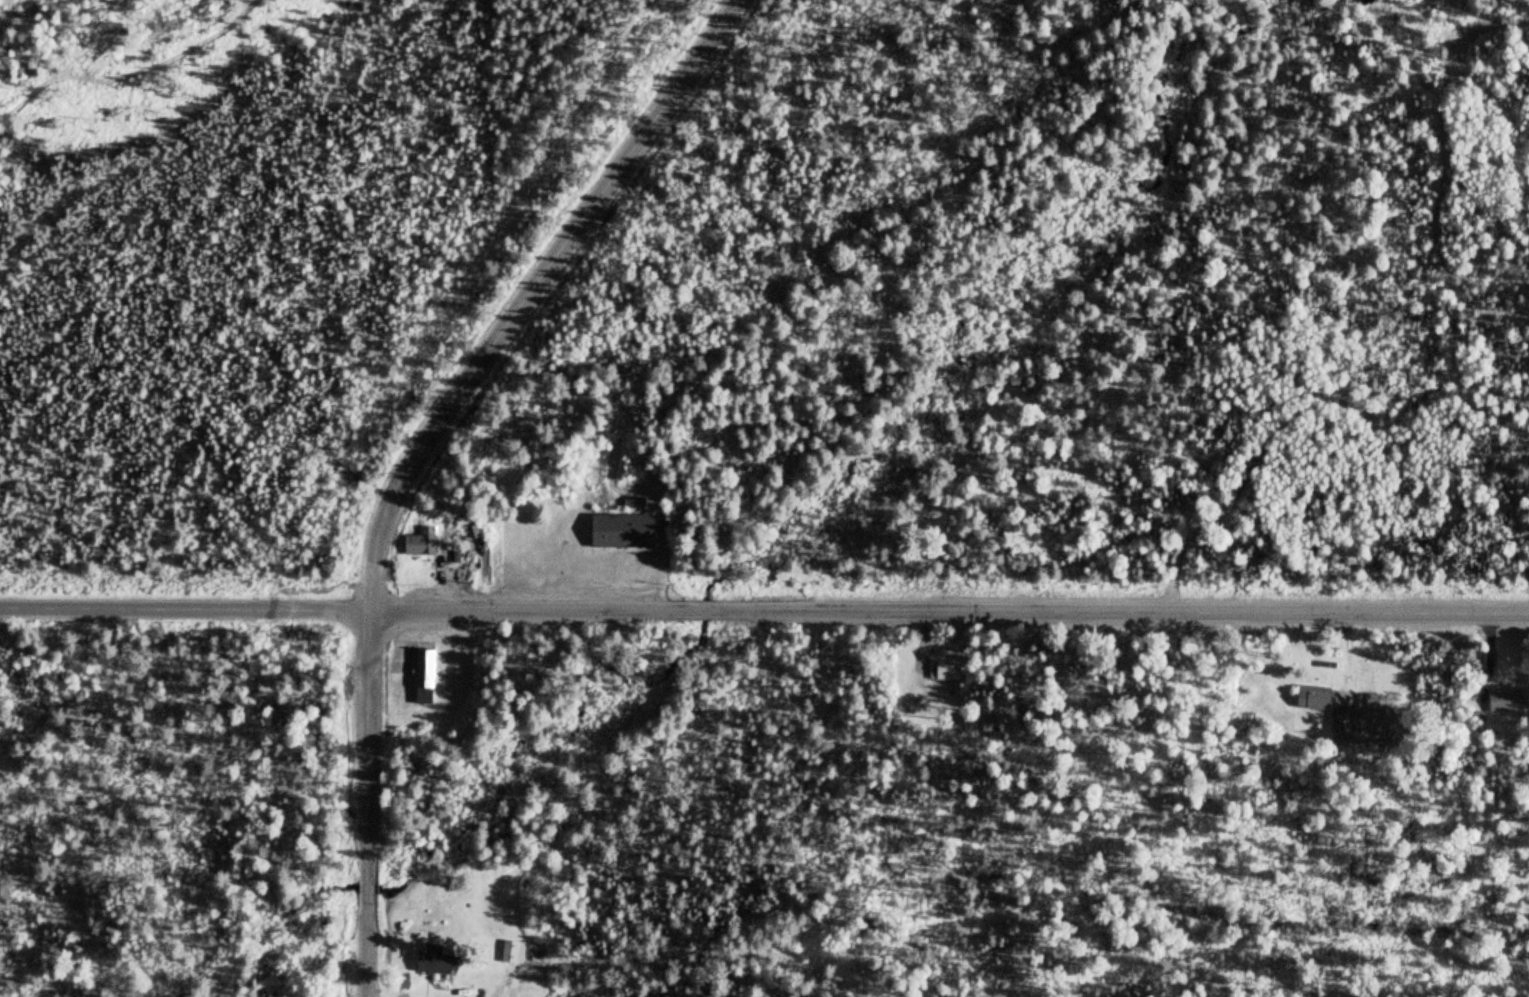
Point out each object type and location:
road: (526, 293)
building: (631, 504)
building: (618, 533)
building: (422, 544)
road: (183, 608)
road: (948, 609)
building: (945, 672)
building: (421, 676)
park: (923, 692)
building: (1310, 697)
building: (1506, 700)
building: (1345, 721)
road: (368, 803)
building: (432, 959)

